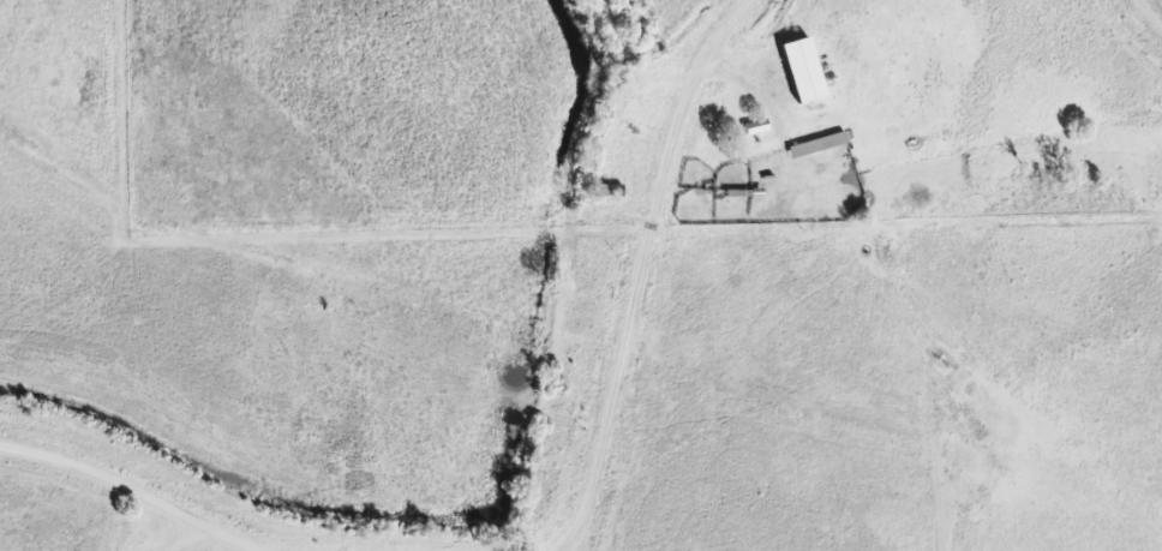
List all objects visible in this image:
building: (795, 70)
road: (762, 72)
building: (749, 127)
building: (795, 148)
road: (640, 269)
road: (104, 478)
road: (214, 529)

